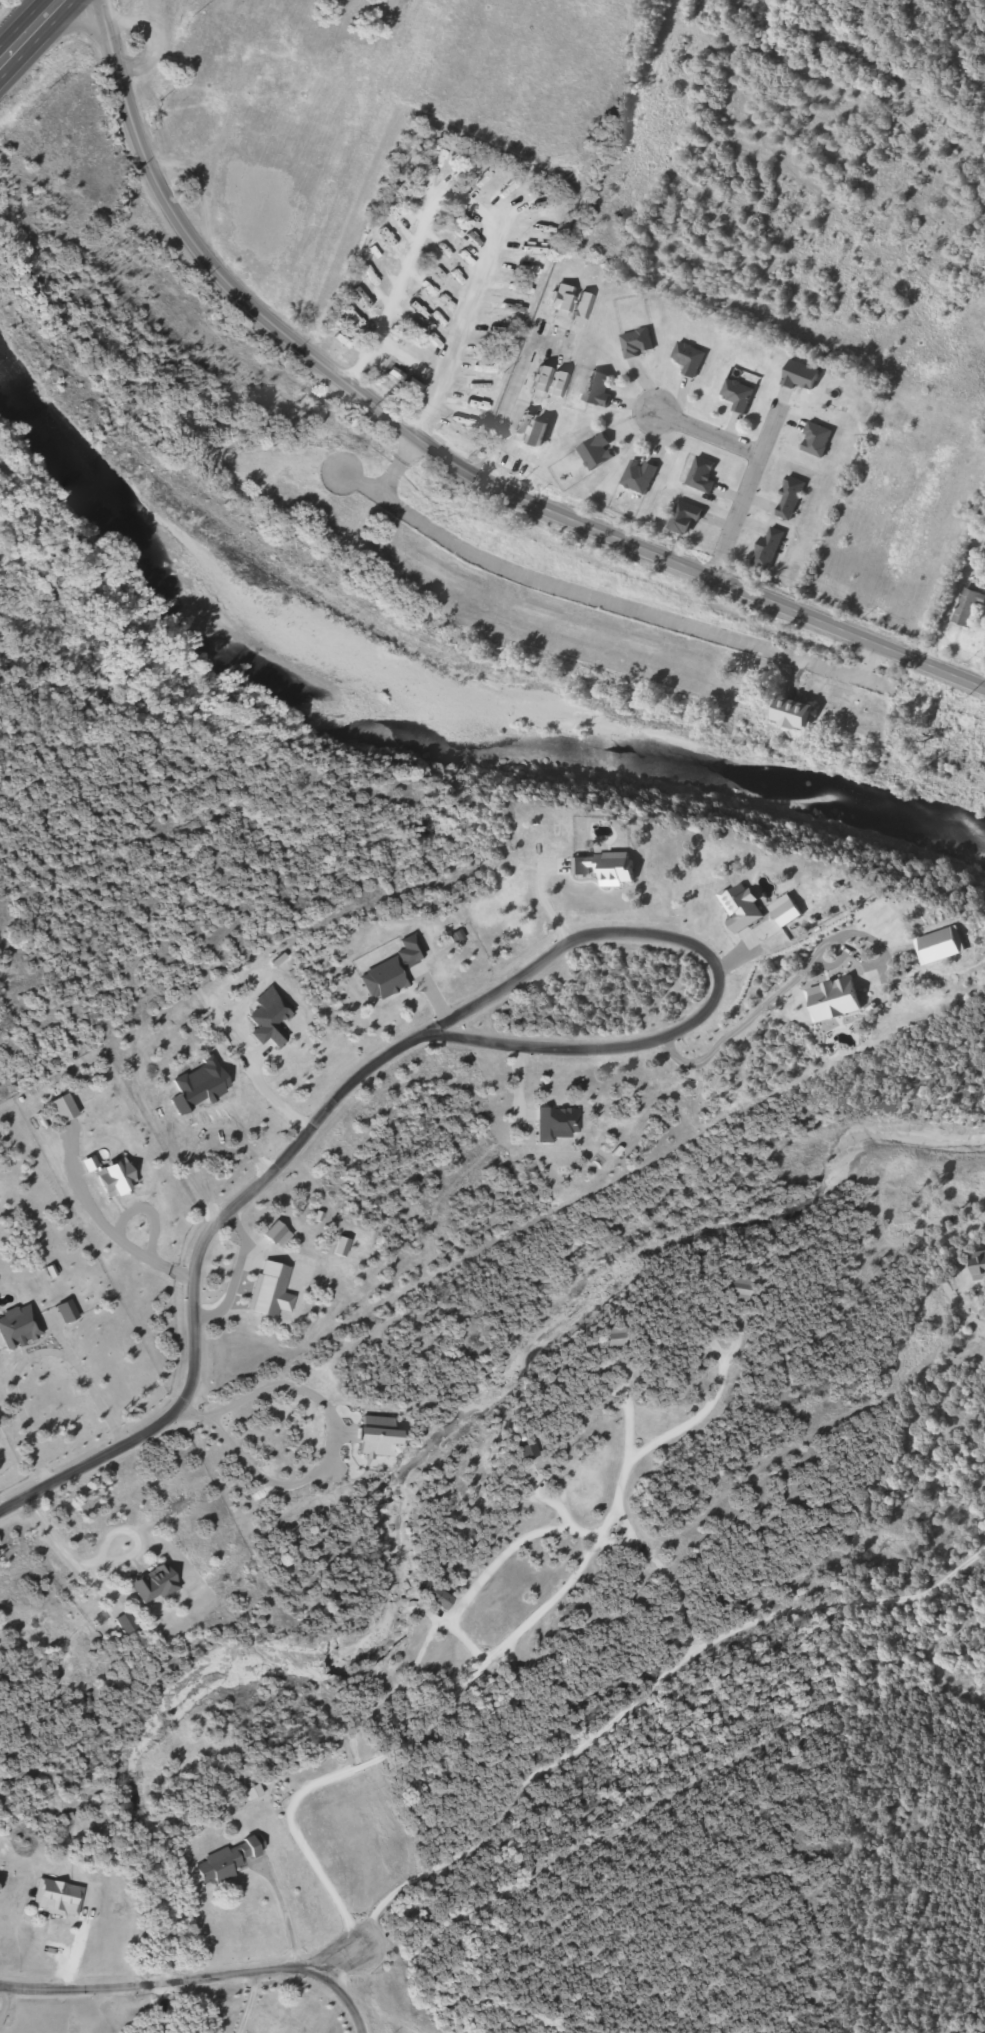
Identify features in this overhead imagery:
road: (87, 25)
road: (36, 35)
road: (338, 162)
road: (478, 206)
road: (207, 252)
building: (369, 293)
building: (396, 315)
building: (640, 344)
road: (406, 358)
building: (691, 359)
building: (404, 366)
building: (803, 376)
building: (602, 389)
building: (740, 395)
road: (707, 433)
building: (820, 440)
building: (514, 445)
building: (600, 453)
road: (396, 466)
building: (706, 474)
building: (643, 476)
road: (749, 491)
building: (794, 498)
building: (689, 519)
building: (772, 548)
road: (695, 569)
road: (610, 602)
building: (972, 608)
building: (800, 714)
road: (715, 968)
building: (980, 1264)
road: (192, 1273)
building: (157, 1584)
building: (438, 1594)
building: (255, 1792)
building: (220, 1865)
building: (59, 1897)
road: (358, 1956)
road: (351, 2002)
road: (52, 2011)

